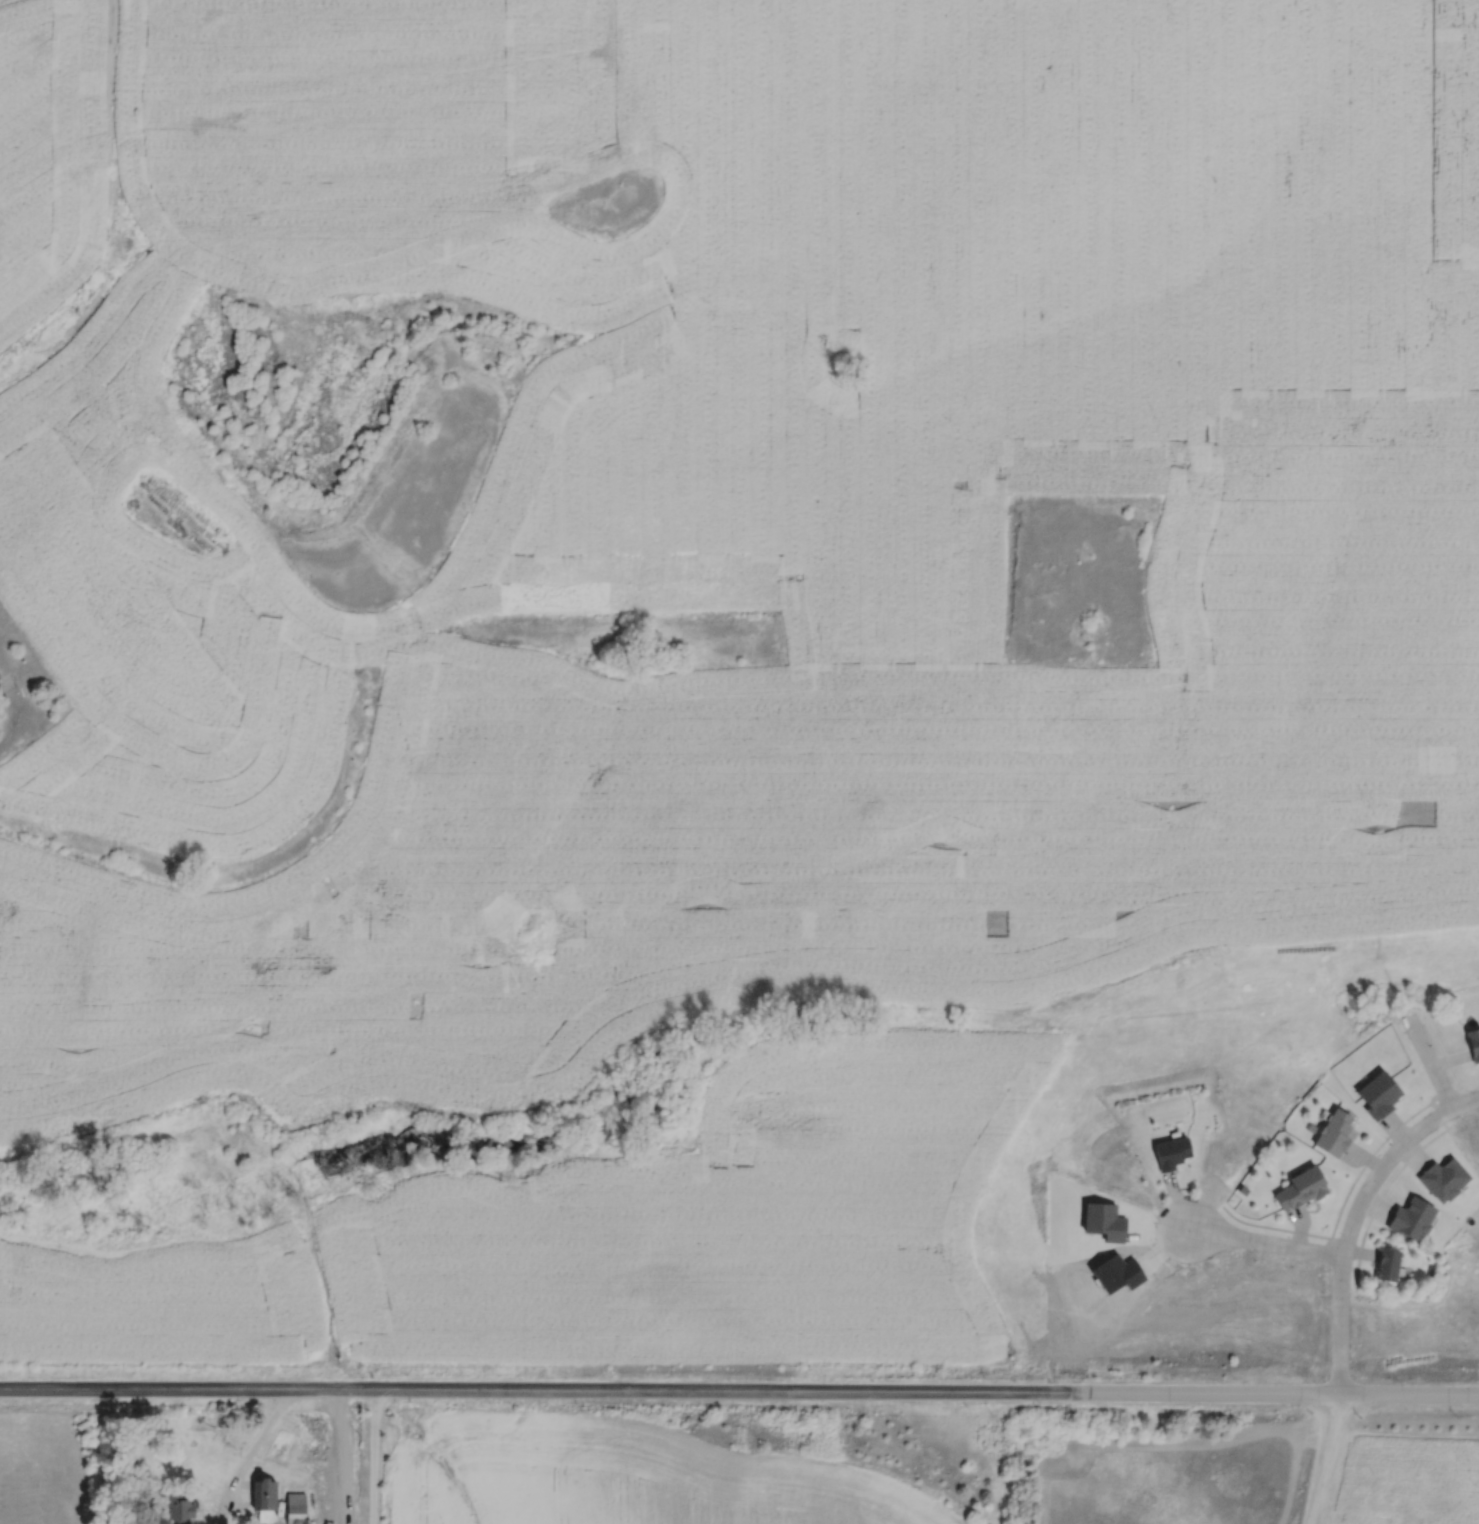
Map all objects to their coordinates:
road: (110, 155)
building: (0, 676)
road: (9, 721)
road: (1436, 1066)
building: (1337, 1135)
building: (1174, 1154)
building: (1302, 1190)
road: (1358, 1222)
road: (1270, 1246)
building: (1390, 1266)
road: (739, 1393)
road: (257, 1439)
road: (369, 1458)
road: (1329, 1460)
building: (267, 1498)
building: (181, 1508)
building: (298, 1508)

